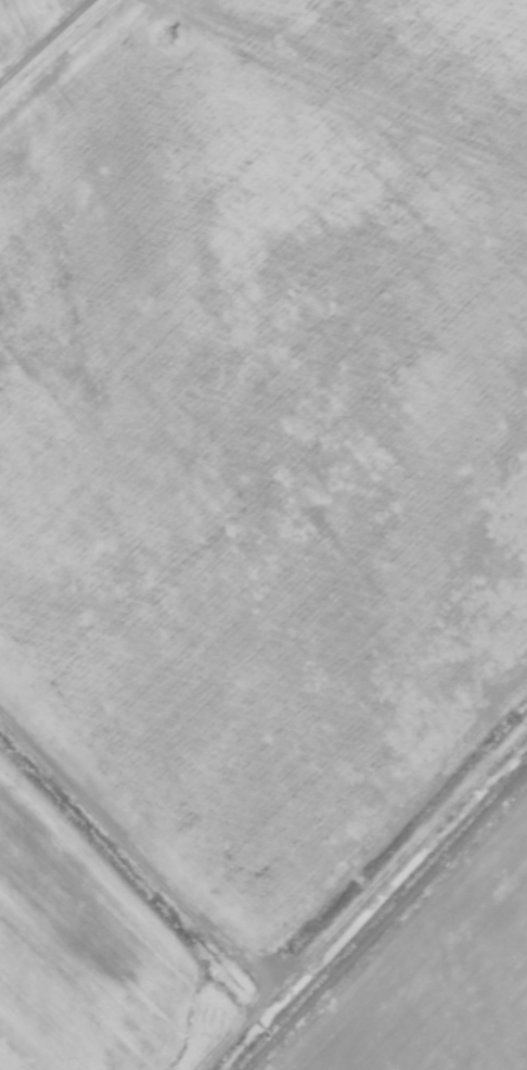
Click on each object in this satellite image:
power tower: (164, 37)
road: (377, 907)

